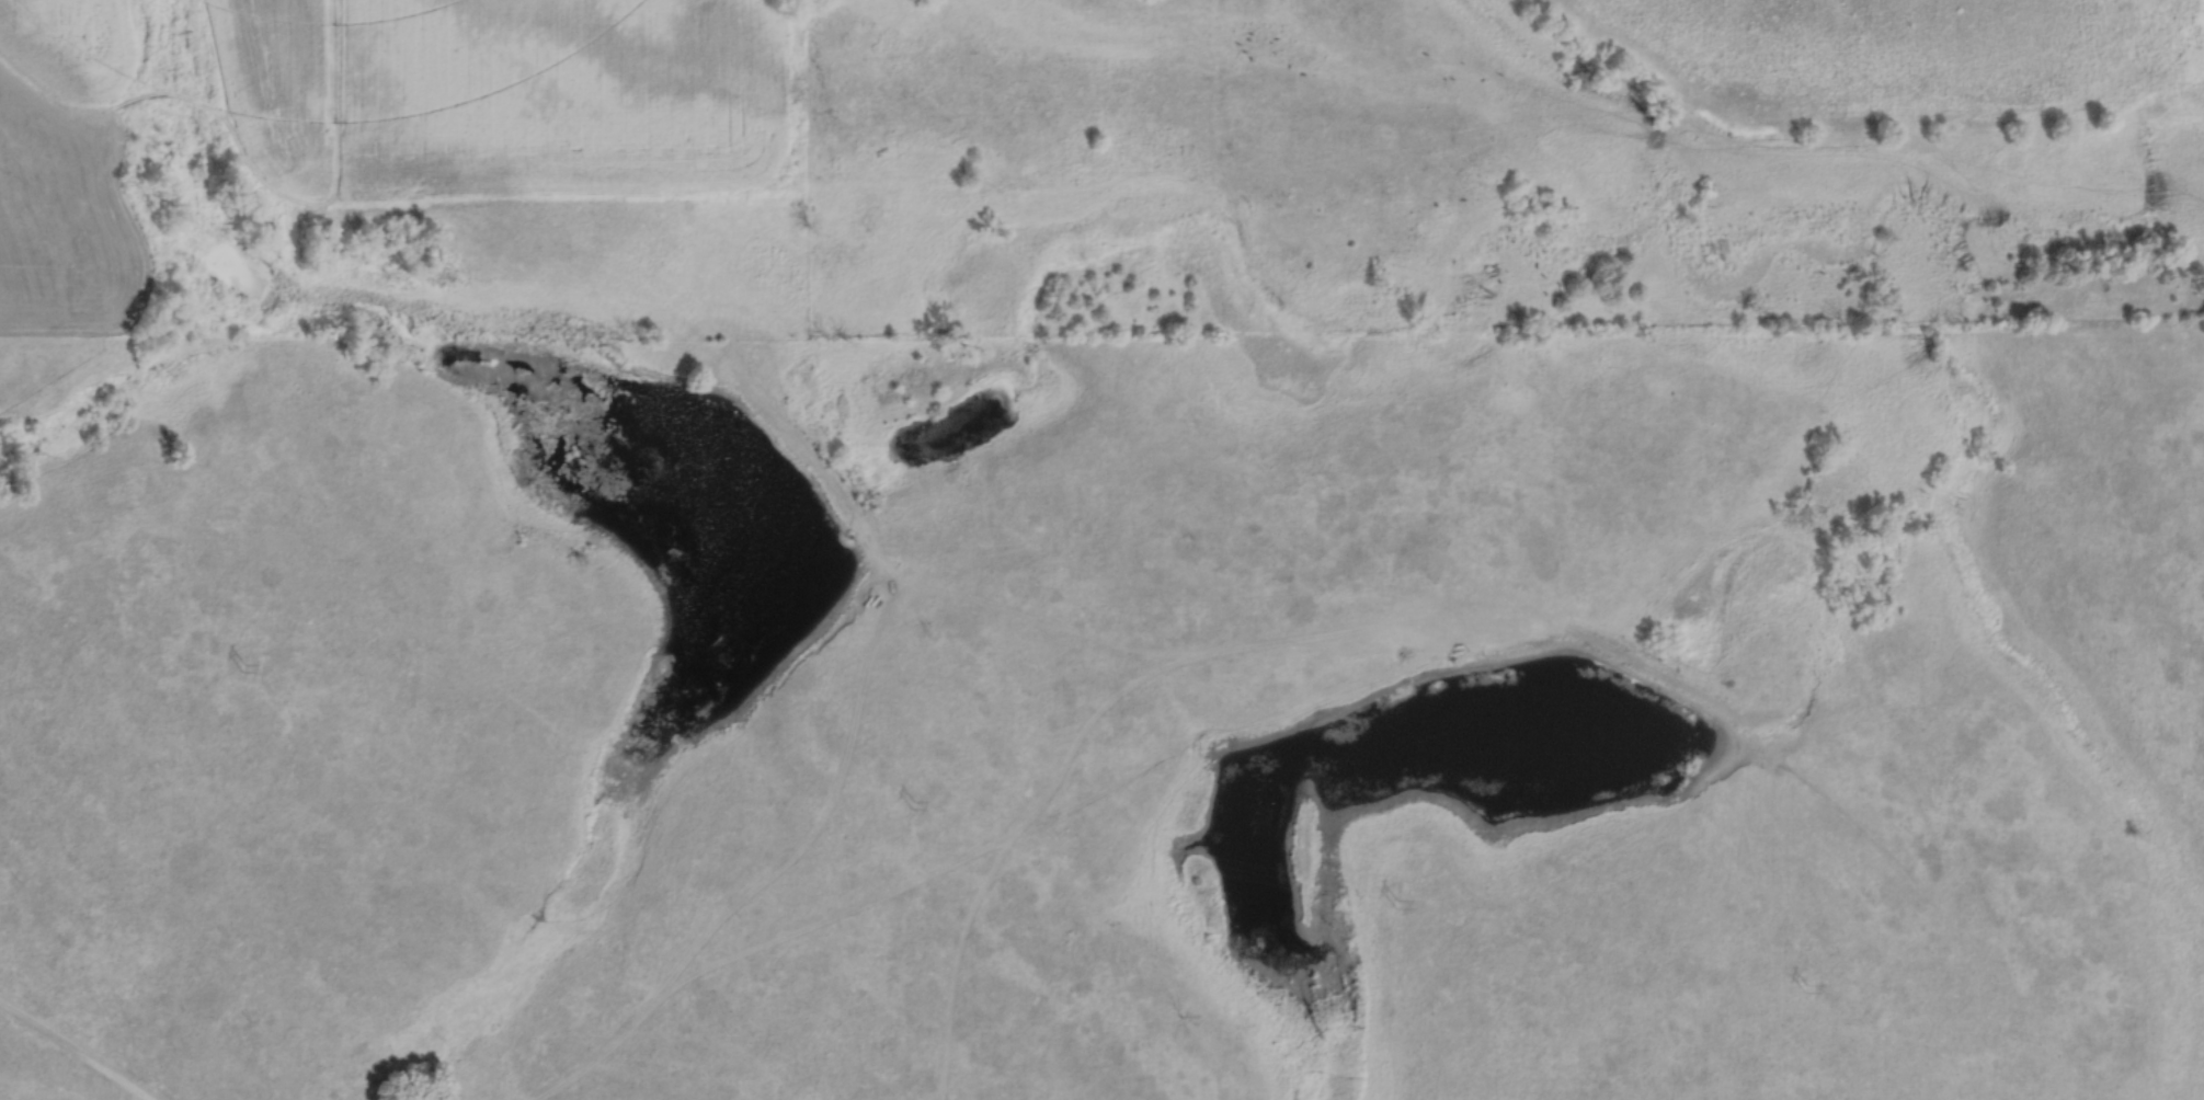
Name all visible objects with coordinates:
dam: (1663, 676)

